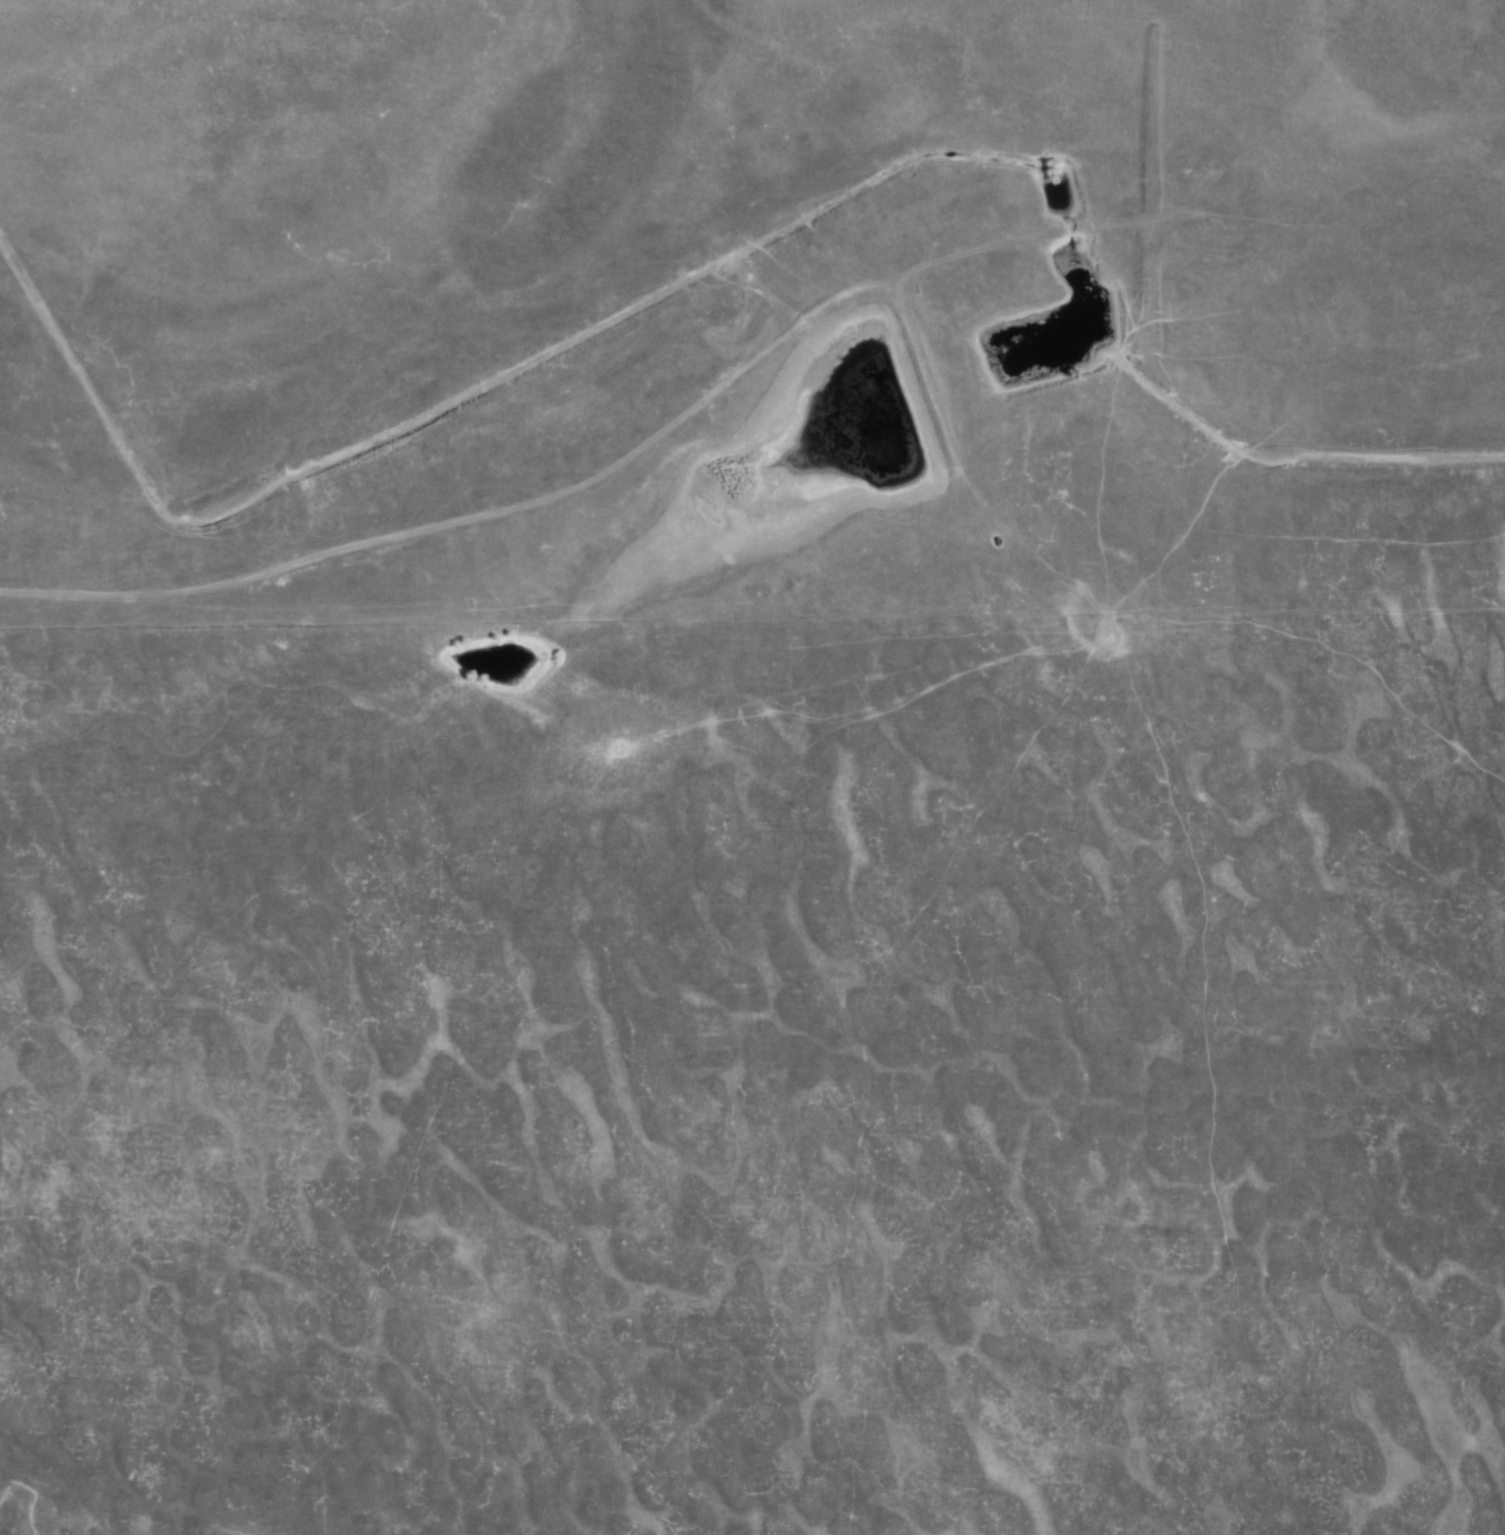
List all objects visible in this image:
road: (65, 595)

